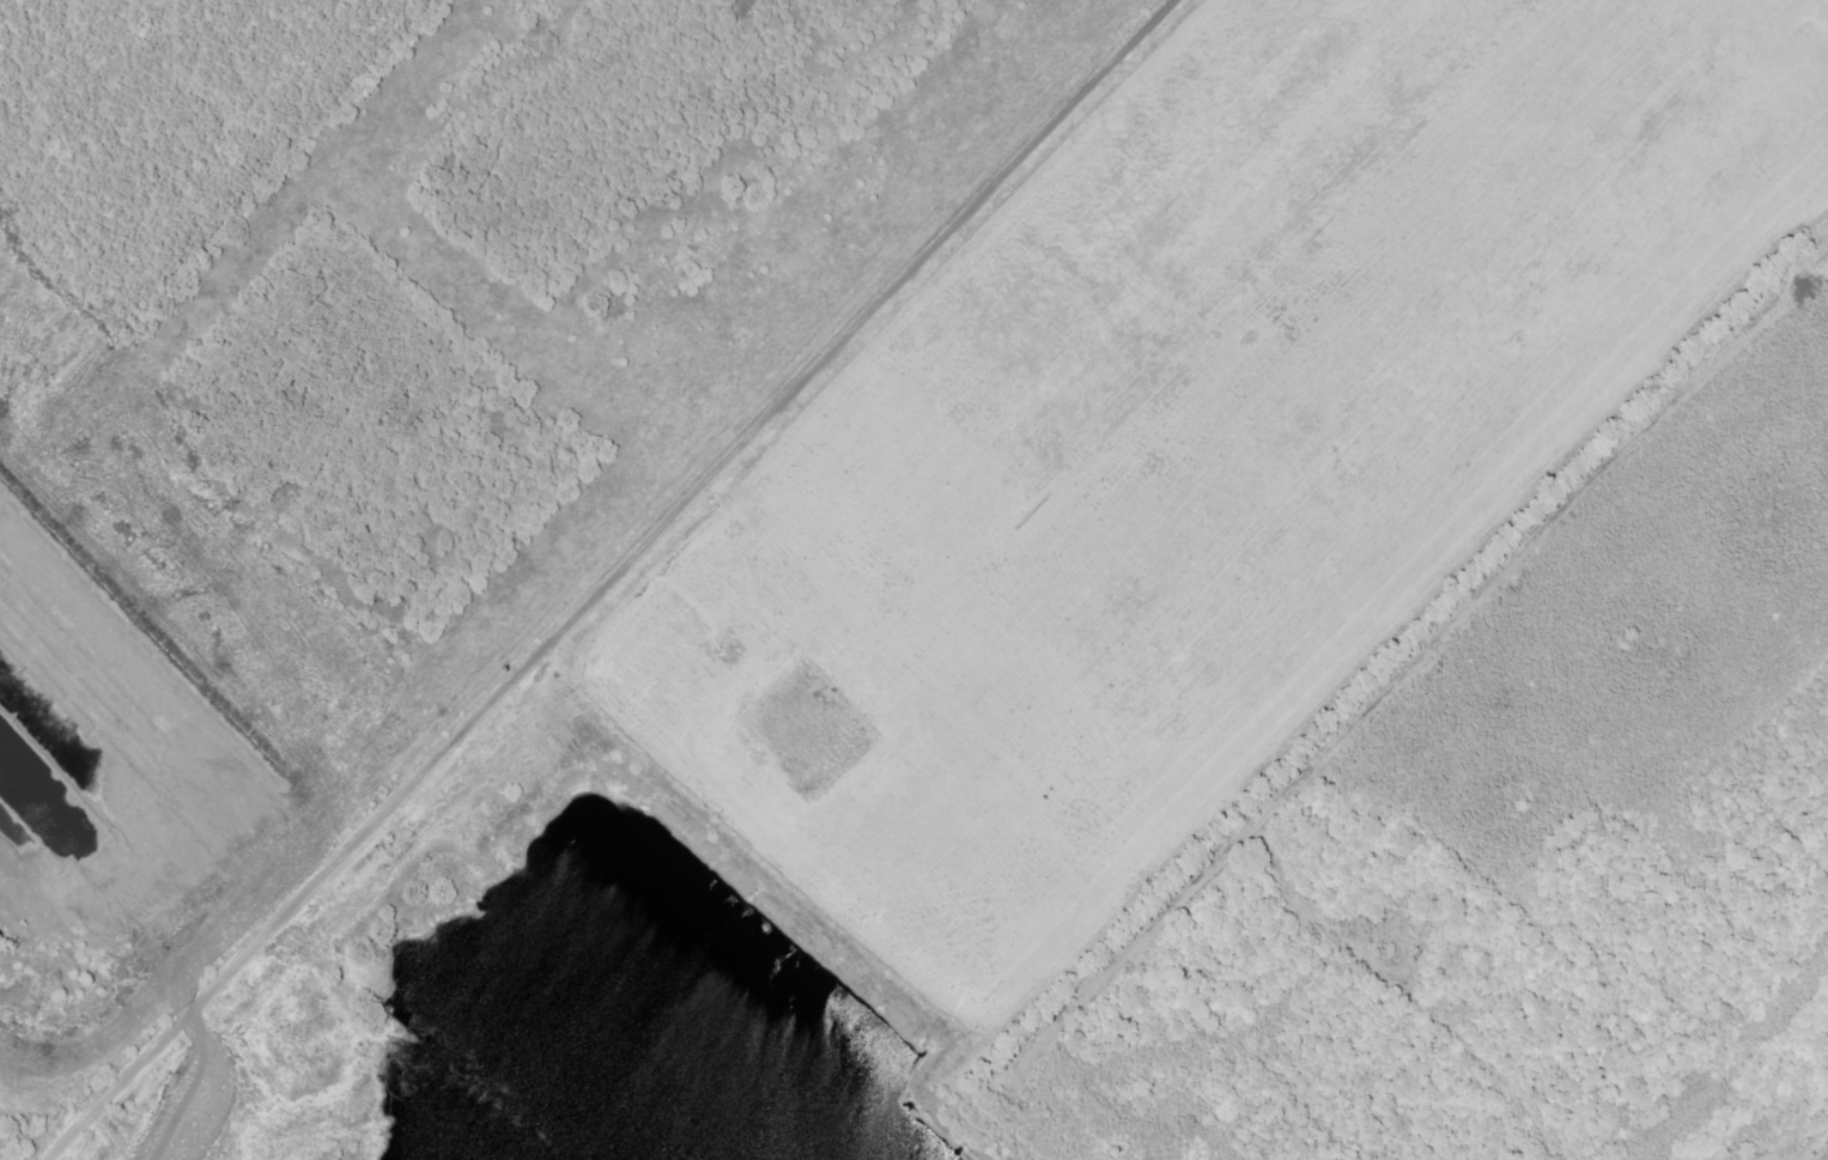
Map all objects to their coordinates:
road: (607, 578)
road: (456, 836)
road: (1803, 1134)

